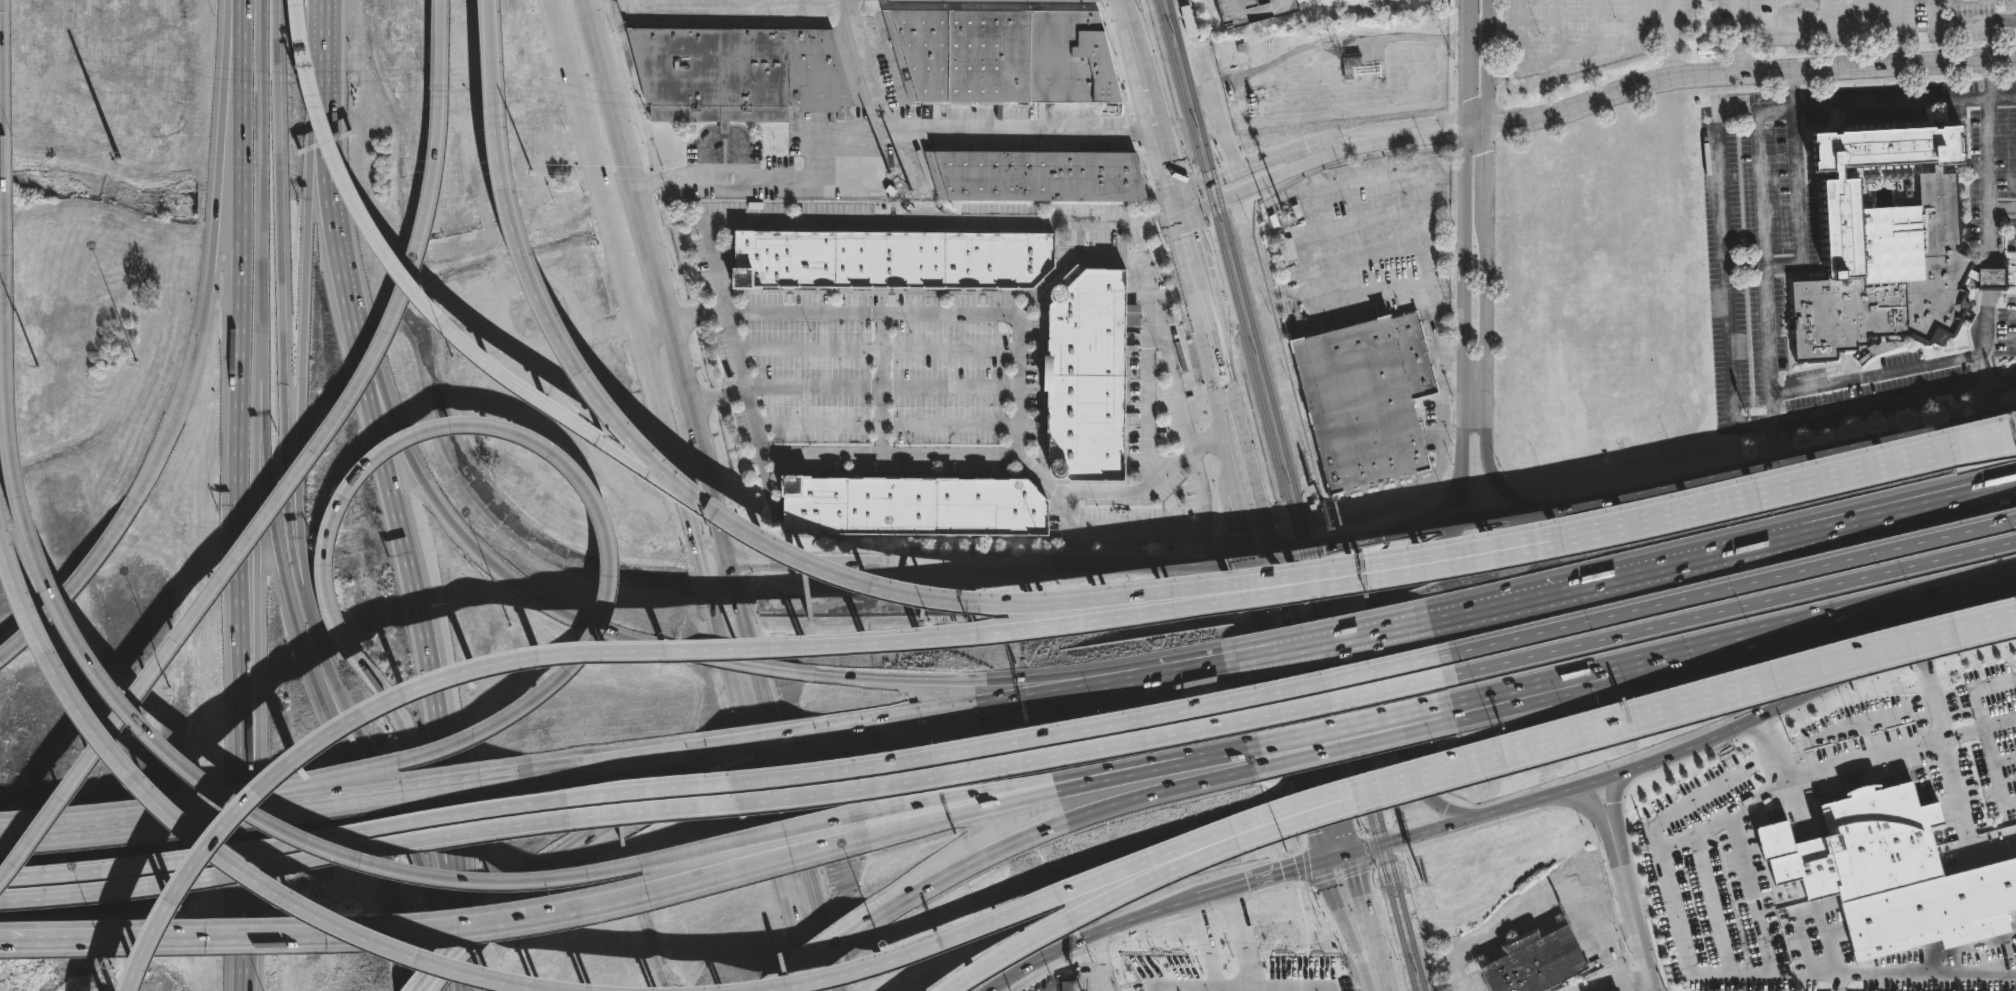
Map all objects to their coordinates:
building: (1393, 0)
road: (295, 1)
building: (978, 1)
building: (1253, 11)
parking garage: (1253, 11)
road: (1779, 14)
road: (1817, 14)
road: (1856, 14)
road: (1896, 14)
road: (1634, 16)
road: (241, 18)
road: (1596, 22)
road: (1963, 23)
road: (1560, 28)
road: (1818, 29)
road: (1523, 34)
road: (1740, 37)
road: (1673, 40)
road: (1596, 44)
road: (1896, 46)
road: (493, 53)
road: (322, 54)
building: (1007, 55)
toll booth: (304, 58)
road: (1486, 60)
road: (1466, 61)
building: (1353, 63)
road: (863, 65)
building: (741, 73)
road: (1748, 74)
road: (230, 82)
road: (2004, 97)
road: (1911, 100)
road: (579, 112)
road: (1476, 122)
road: (1027, 132)
road: (722, 137)
road: (1316, 151)
road: (314, 155)
power tower: (117, 159)
road: (1485, 164)
power tower: (530, 171)
road: (786, 175)
building: (1039, 175)
power tower: (897, 182)
road: (260, 189)
road: (1172, 202)
road: (2002, 205)
road: (894, 222)
road: (213, 229)
road: (641, 235)
building: (1885, 246)
road: (335, 249)
road: (1725, 250)
road: (1443, 254)
road: (278, 256)
road: (1988, 258)
building: (896, 259)
road: (1775, 263)
road: (621, 271)
railway: (1241, 283)
railway: (1231, 284)
road: (1419, 284)
road: (1482, 292)
road: (429, 300)
road: (1461, 300)
road: (553, 323)
road: (650, 323)
road: (1018, 330)
road: (1166, 335)
road: (301, 350)
road: (876, 351)
road: (736, 352)
road: (1452, 354)
power tower: (36, 368)
road: (1148, 373)
building: (1094, 374)
road: (1876, 374)
road: (1471, 375)
road: (650, 382)
road: (882, 383)
road: (2003, 385)
road: (1443, 389)
road: (882, 394)
building: (1366, 400)
road: (237, 409)
road: (1451, 413)
road: (887, 425)
road: (257, 426)
road: (387, 427)
road: (168, 428)
road: (2004, 437)
road: (2004, 439)
road: (1483, 445)
road: (1231, 449)
road: (830, 450)
road: (1788, 460)
building: (412, 464)
road: (1877, 467)
road: (296, 470)
road: (1252, 479)
road: (1445, 503)
building: (919, 506)
road: (1512, 508)
road: (685, 509)
road: (1855, 511)
road: (715, 516)
road: (1611, 520)
road: (1459, 521)
road: (1855, 521)
road: (1248, 525)
road: (1153, 527)
road: (1368, 536)
road: (299, 543)
road: (294, 549)
traffic signals: (1273, 555)
road: (1265, 556)
traffic signals: (1257, 558)
road: (991, 562)
traffic signals: (726, 563)
road: (714, 567)
traffic signals: (703, 571)
road: (1373, 574)
railway: (1319, 579)
railway: (1309, 583)
road: (254, 586)
road: (1972, 587)
road: (1728, 588)
road: (1558, 590)
road: (1972, 591)
road: (65, 593)
road: (527, 594)
road: (1069, 600)
road: (1731, 608)
road: (1371, 618)
road: (1798, 629)
road: (1329, 644)
road: (582, 651)
road: (427, 661)
road: (480, 661)
road: (750, 666)
road: (1025, 679)
road: (1556, 686)
road: (315, 688)
road: (1736, 688)
road: (1557, 692)
road: (1980, 692)
road: (1027, 702)
road: (1312, 705)
road: (1739, 725)
road: (148, 726)
road: (1346, 728)
road: (1962, 730)
building: (2006, 735)
road: (248, 740)
road: (762, 743)
road: (1349, 743)
road: (409, 745)
building: (366, 749)
road: (1217, 754)
road: (762, 758)
road: (1865, 761)
road: (604, 764)
road: (1300, 764)
road: (1994, 771)
road: (1952, 773)
road: (782, 777)
building: (1856, 780)
road: (756, 781)
road: (383, 785)
road: (1023, 785)
road: (723, 786)
road: (1344, 791)
railway: (1374, 791)
railway: (1364, 793)
road: (1025, 795)
road: (291, 796)
road: (1612, 800)
road: (1349, 804)
road: (1586, 806)
road: (726, 807)
road: (621, 819)
road: (1053, 825)
road: (42, 827)
building: (1805, 837)
road: (1406, 839)
road: (219, 847)
building: (1734, 848)
traffic signals: (1351, 856)
road: (1336, 857)
traffic signals: (1321, 859)
building: (1891, 873)
helipad: (1598, 876)
road: (1258, 878)
road: (240, 885)
road: (1061, 894)
road: (1541, 901)
road: (1091, 908)
road: (1363, 908)
road: (1632, 911)
road: (437, 922)
road: (479, 927)
road: (1235, 928)
road: (1201, 934)
road: (1087, 936)
road: (820, 954)
road: (1103, 961)
building: (1533, 963)
road: (1689, 964)
road: (461, 965)
road: (1228, 969)
road: (1296, 971)
road: (1371, 977)
road: (821, 978)
road: (1836, 980)
road: (1207, 981)
road: (1628, 984)
building: (1067, 987)
road: (420, 989)
building: (1281, 989)
road: (774, 990)

